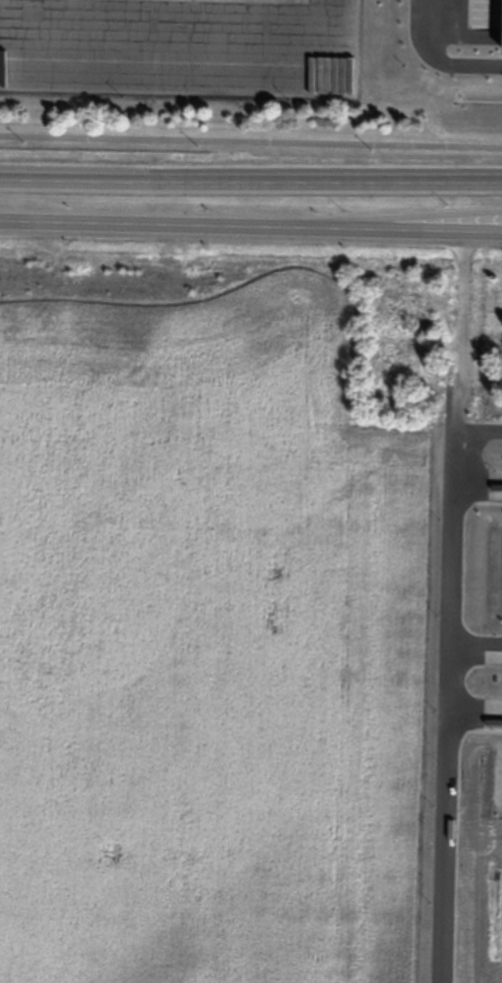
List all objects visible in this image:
road: (251, 38)
road: (251, 139)
road: (251, 178)
road: (462, 222)
road: (251, 224)
road: (464, 297)
building: (393, 360)

